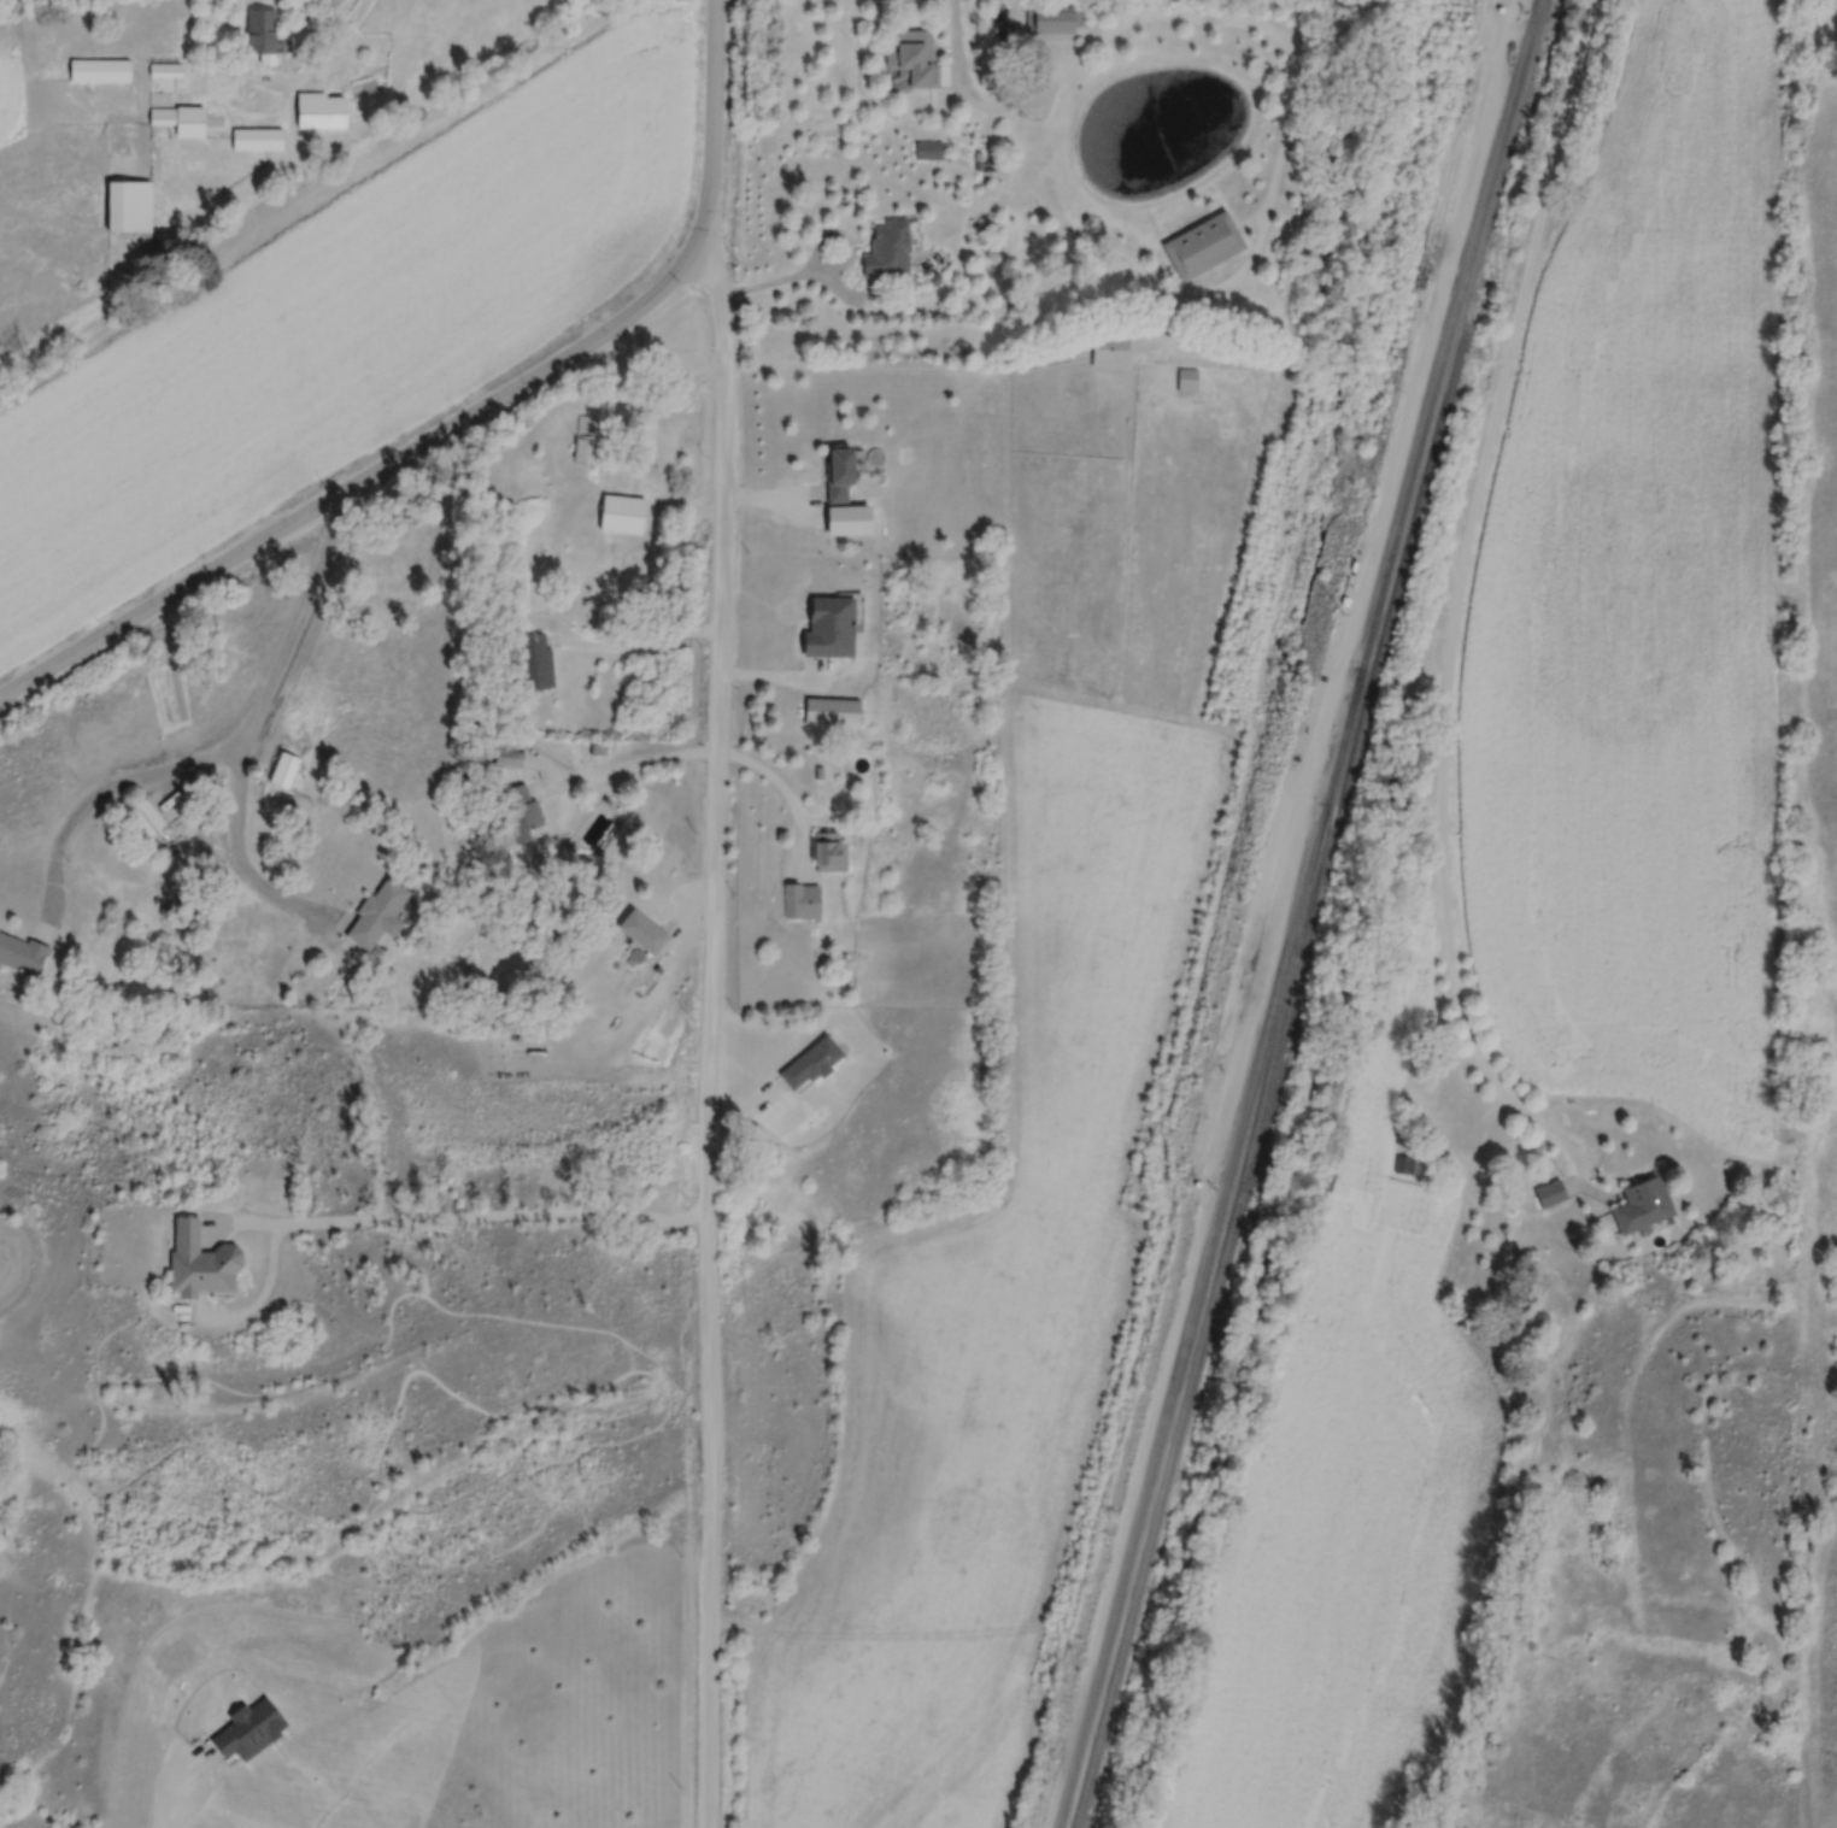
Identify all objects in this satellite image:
building: (1056, 23)
road: (1261, 28)
building: (264, 36)
road: (323, 57)
building: (915, 57)
building: (101, 72)
building: (169, 72)
road: (976, 76)
building: (323, 112)
building: (182, 123)
building: (123, 140)
building: (259, 140)
building: (130, 208)
building: (1205, 247)
building: (891, 252)
road: (463, 419)
building: (586, 436)
road: (641, 445)
building: (833, 463)
building: (841, 477)
building: (622, 511)
road: (1454, 605)
crop: (1644, 607)
building: (822, 619)
building: (538, 663)
building: (824, 701)
road: (224, 748)
building: (506, 757)
road: (632, 765)
building: (286, 771)
road: (779, 781)
building: (521, 810)
building: (148, 819)
building: (821, 837)
building: (832, 852)
road: (235, 862)
building: (793, 888)
building: (804, 903)
building: (371, 906)
railway: (1307, 915)
building: (634, 922)
railway: (1314, 947)
building: (22, 951)
road: (706, 1024)
building: (800, 1054)
building: (814, 1064)
building: (1553, 1195)
building: (1645, 1206)
road: (470, 1210)
building: (193, 1253)
road: (177, 1792)

